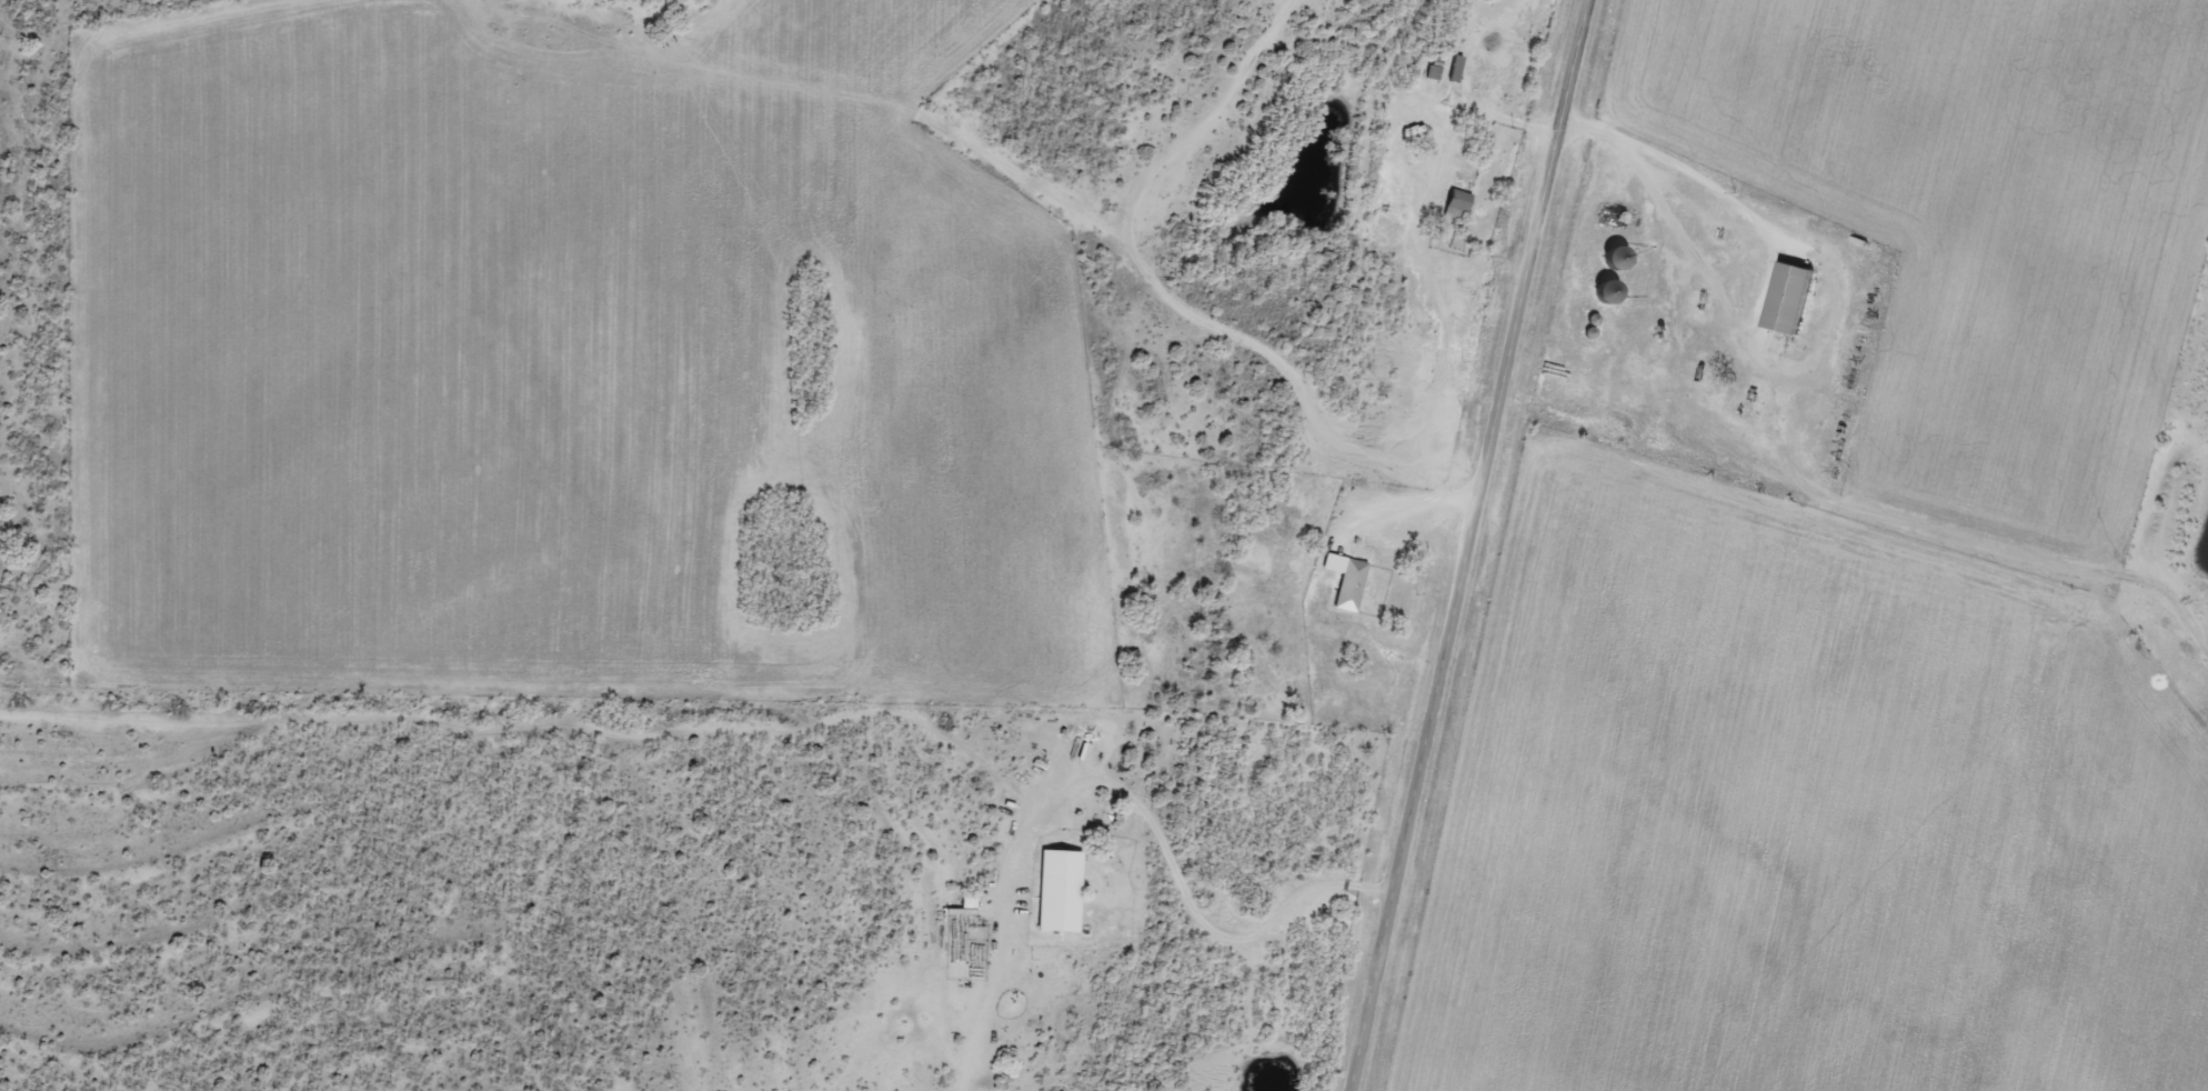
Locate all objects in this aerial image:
building: (1455, 70)
building: (1454, 207)
building: (1613, 259)
building: (1604, 294)
building: (1785, 300)
road: (1469, 544)
building: (1345, 582)
building: (1057, 892)

